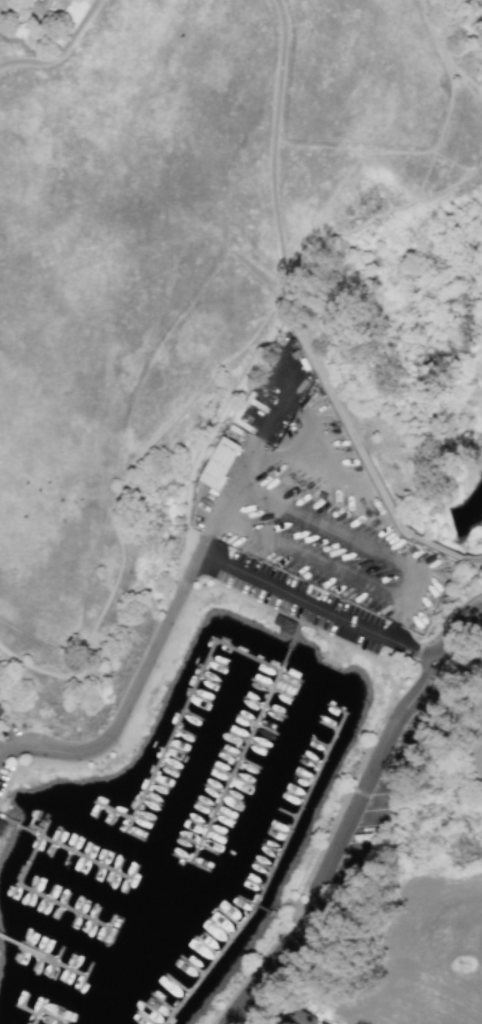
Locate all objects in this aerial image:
building: (40, 6)
road: (466, 32)
road: (461, 50)
road: (445, 53)
road: (63, 55)
road: (273, 155)
road: (363, 225)
road: (356, 413)
road: (308, 417)
road: (344, 422)
road: (214, 428)
building: (218, 463)
road: (121, 483)
road: (228, 499)
river: (468, 515)
dam: (448, 520)
road: (441, 547)
road: (385, 553)
road: (479, 560)
road: (201, 564)
river: (356, 565)
parking lot: (295, 597)
road: (314, 605)
road: (306, 613)
road: (450, 617)
building: (283, 624)
road: (451, 628)
road: (341, 641)
road: (162, 646)
road: (414, 653)
road: (392, 666)
road: (400, 676)
road: (130, 699)
building: (0, 710)
pier: (180, 715)
parking lot: (8, 732)
pier: (246, 745)
road: (15, 769)
parking lot: (4, 772)
road: (351, 785)
road: (363, 785)
parking lot: (381, 790)
pier: (302, 807)
building: (1, 825)
pier: (61, 843)
pier: (37, 891)
road: (302, 913)
road: (293, 915)
pier: (223, 949)
pier: (42, 955)
road: (264, 970)
road: (248, 973)
parking lot: (273, 977)
pier: (42, 1015)
building: (302, 1018)

